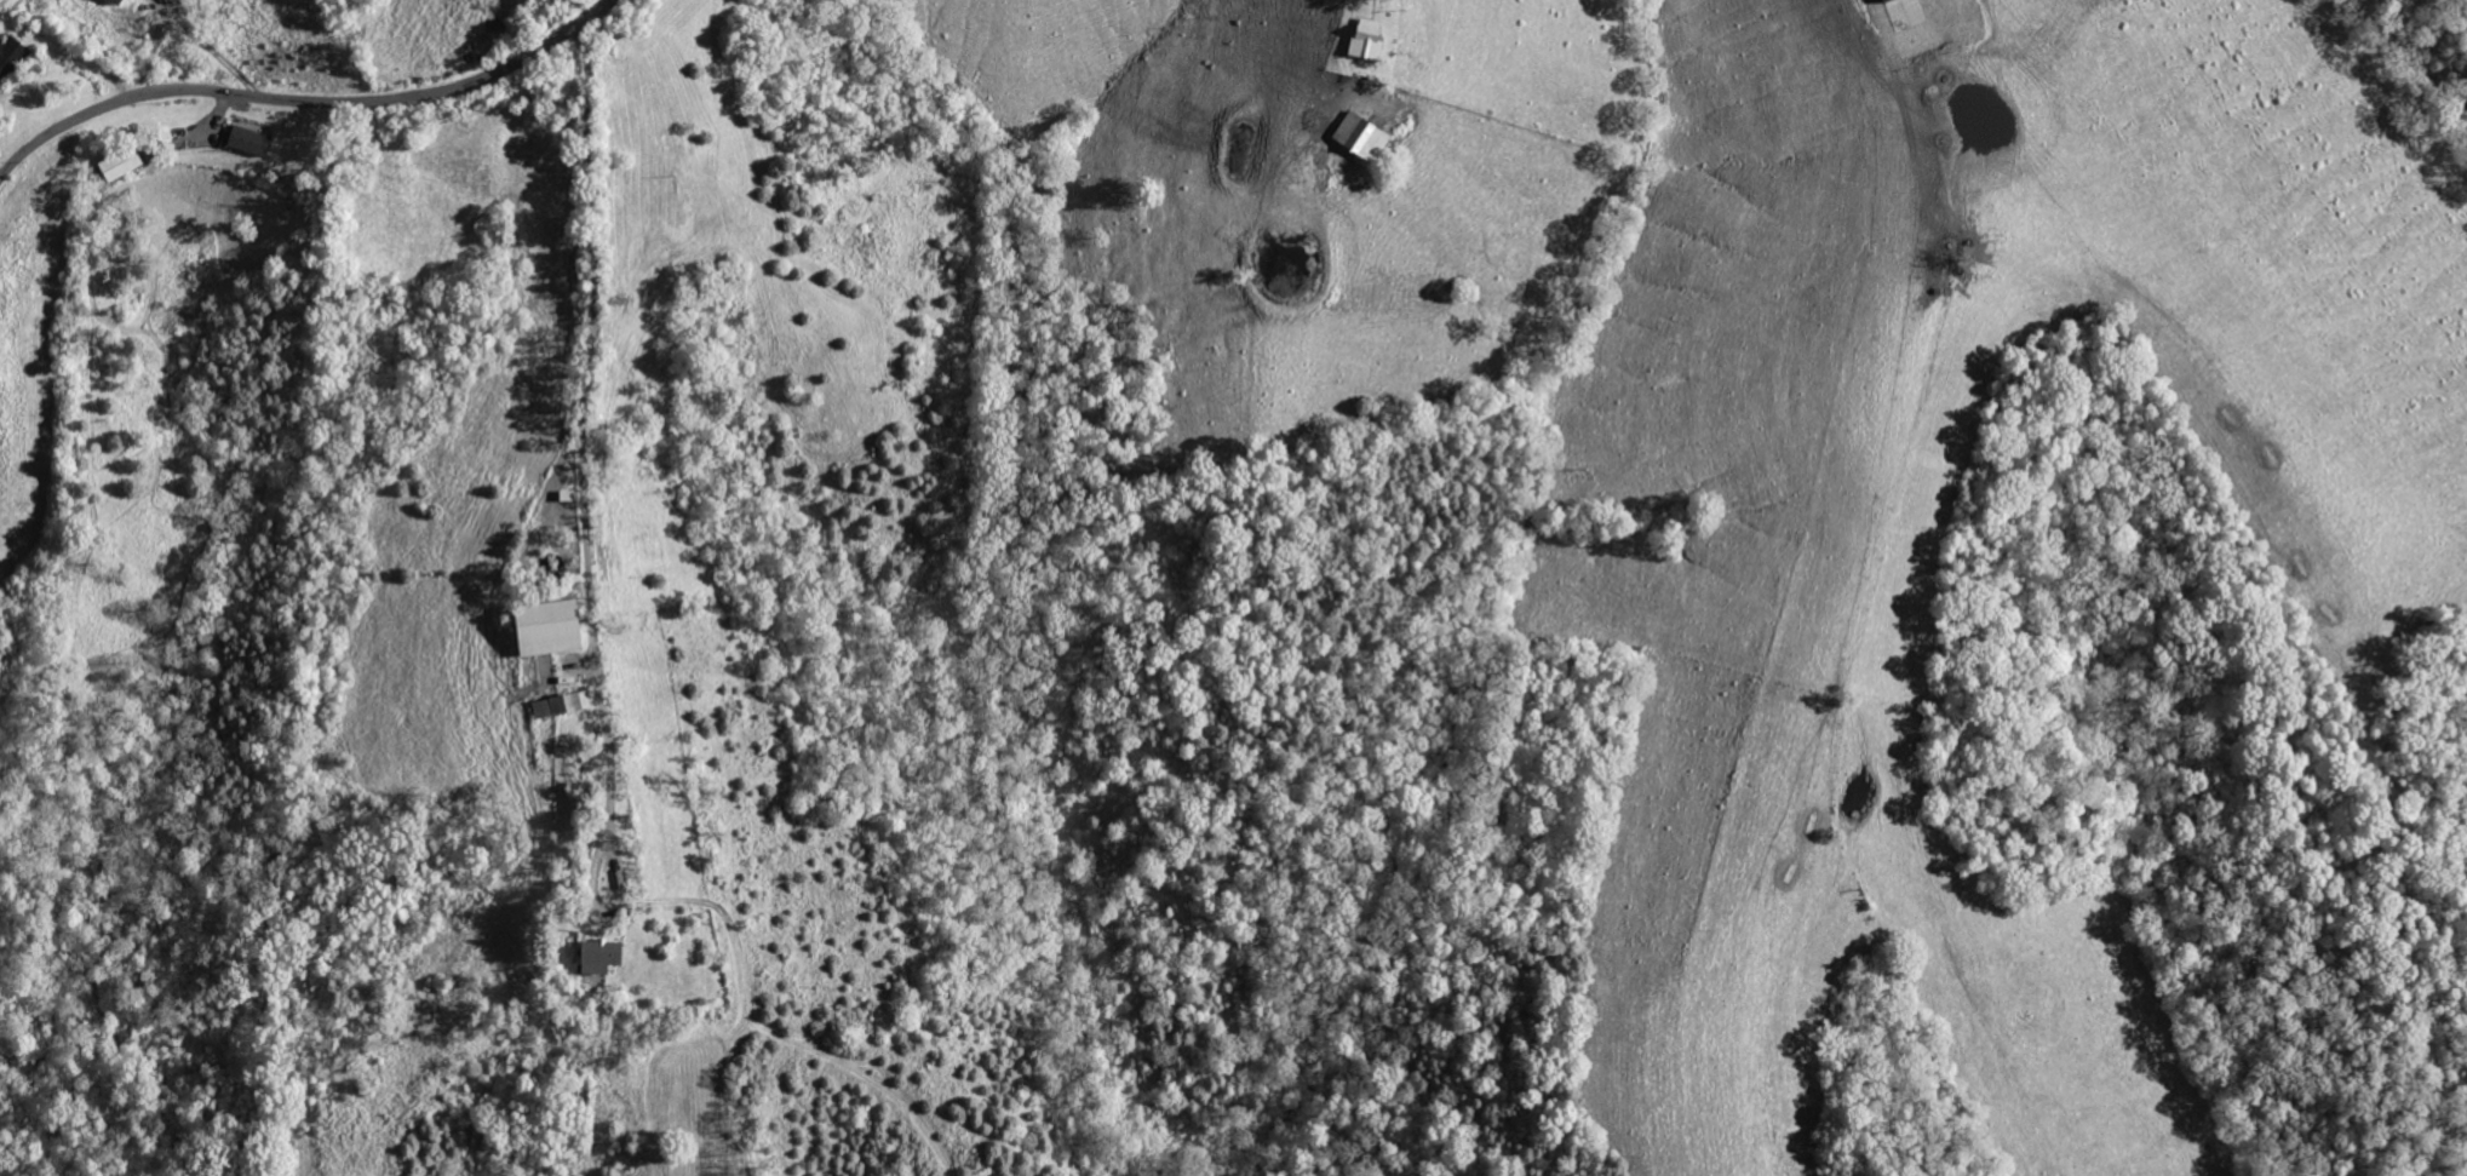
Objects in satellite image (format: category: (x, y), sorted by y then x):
building: (119, 1)
road: (1381, 15)
building: (1369, 39)
building: (11, 57)
road: (303, 99)
building: (1362, 137)
building: (249, 140)
building: (122, 165)
road: (597, 390)
road: (1824, 586)
building: (550, 626)
building: (562, 704)
building: (599, 954)

